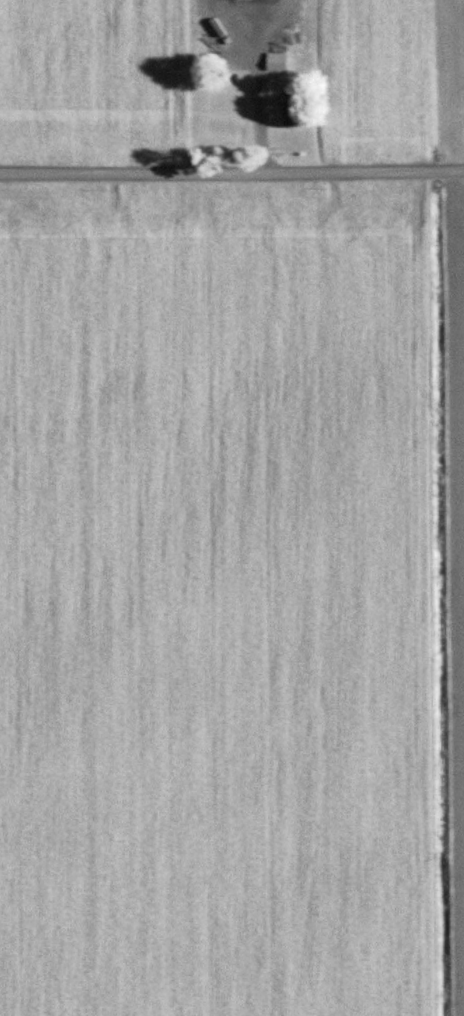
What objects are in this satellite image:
road: (228, 21)
road: (266, 22)
building: (276, 61)
building: (221, 95)
road: (255, 109)
building: (291, 109)
road: (232, 178)

